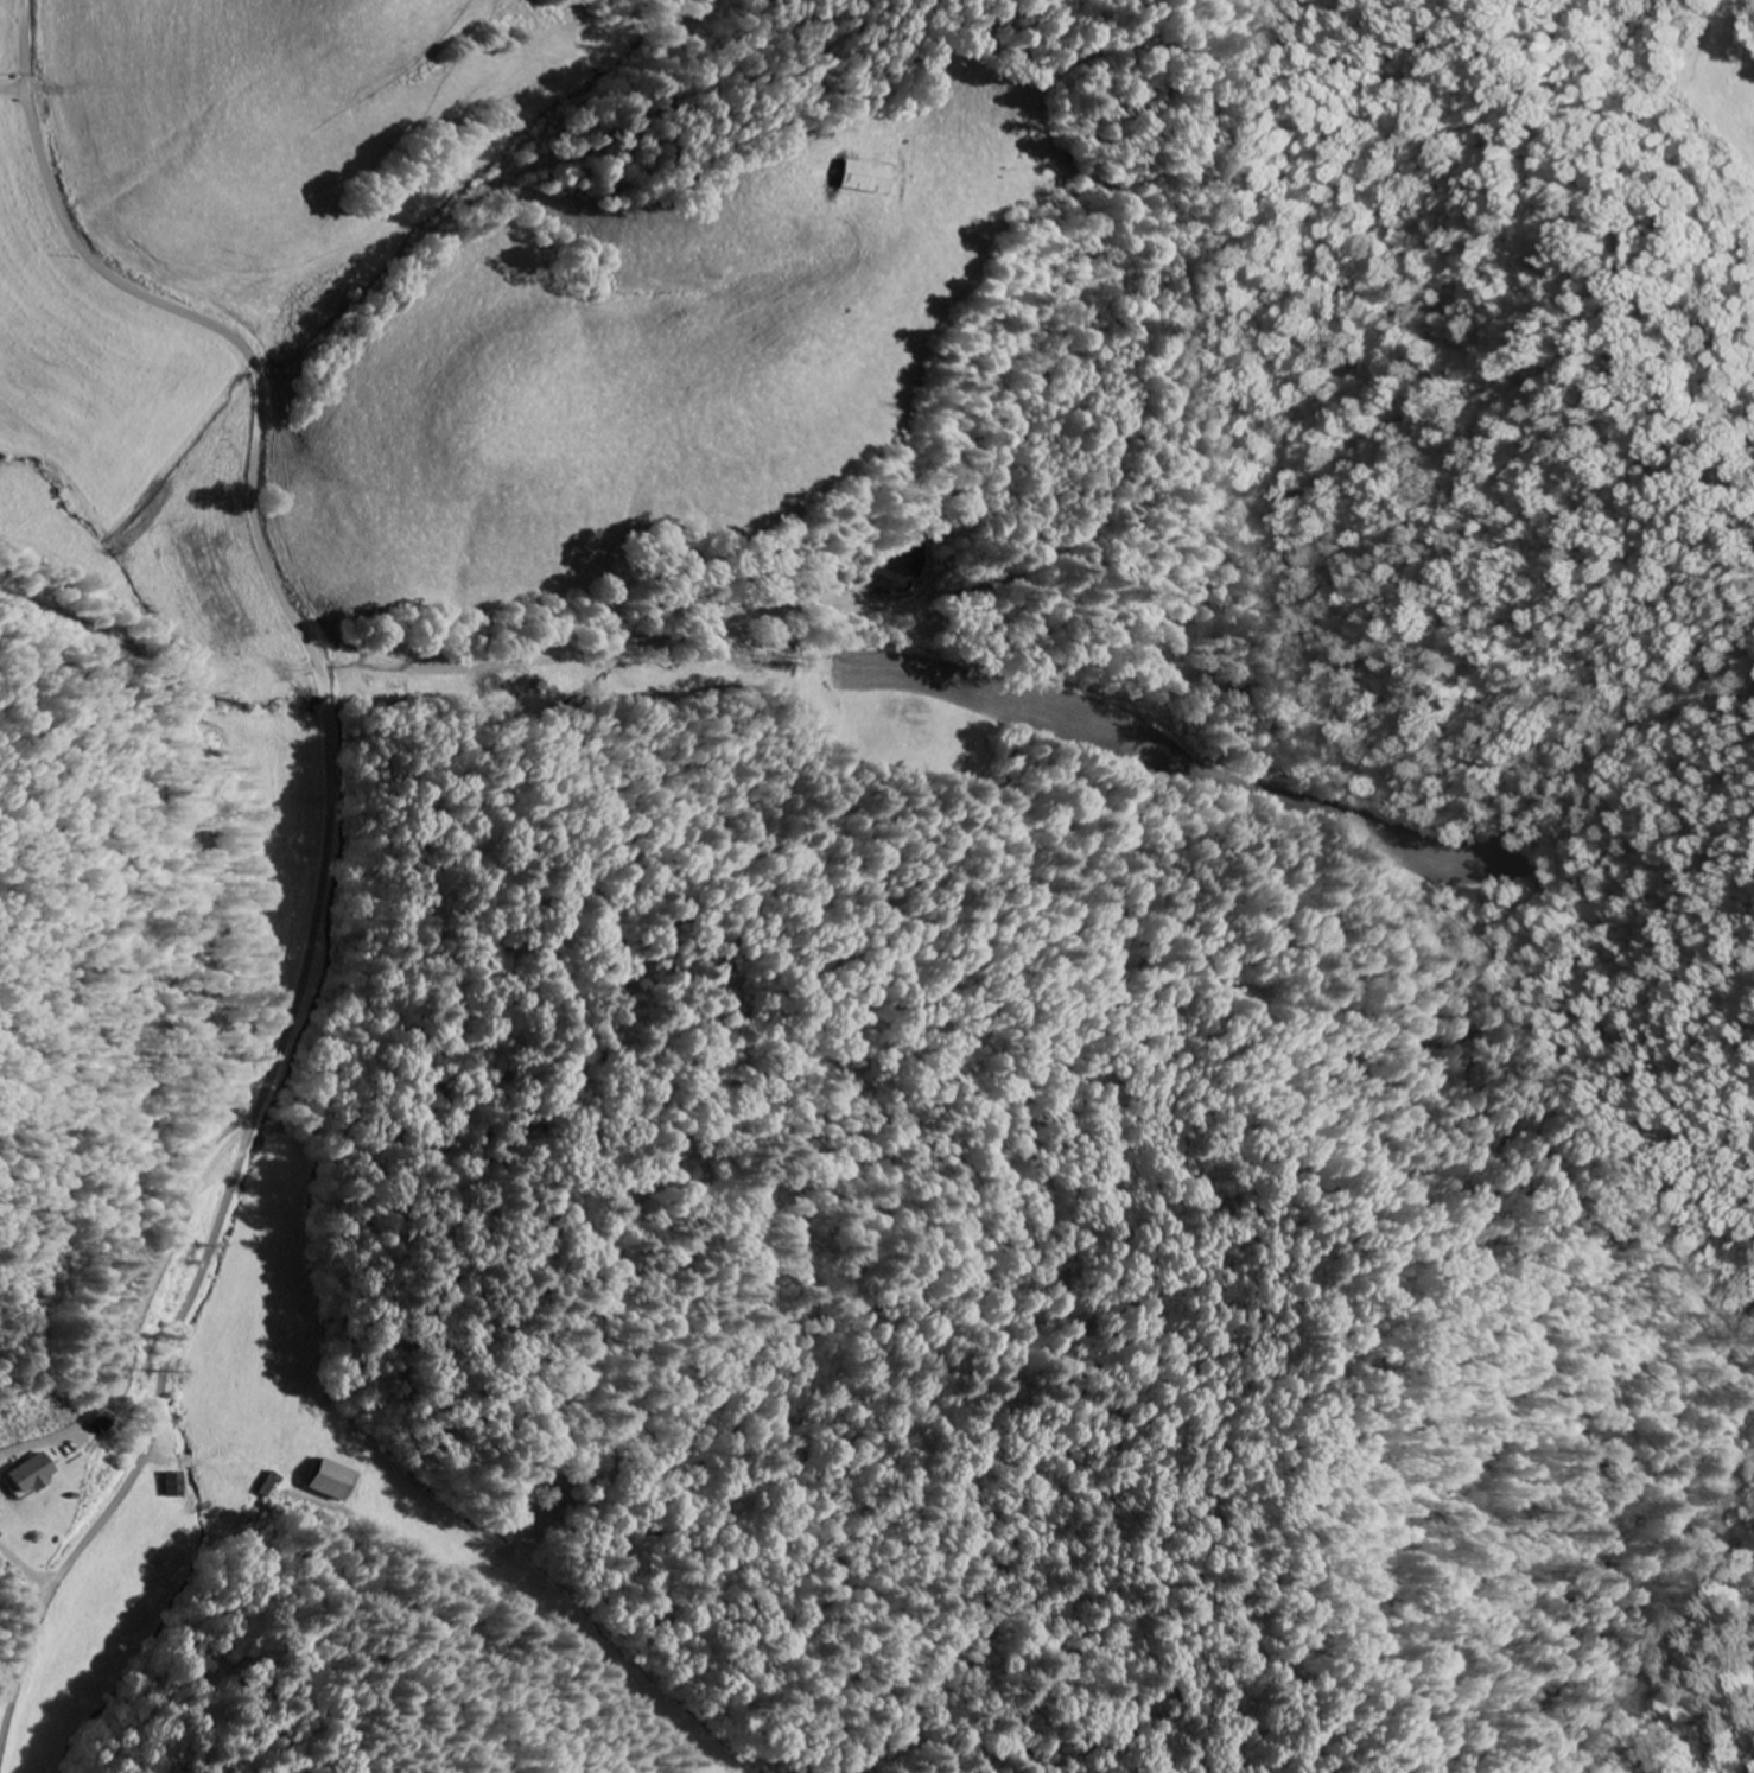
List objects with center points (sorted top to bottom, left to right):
road: (332, 858)
building: (27, 1475)
building: (332, 1481)
building: (173, 1485)

